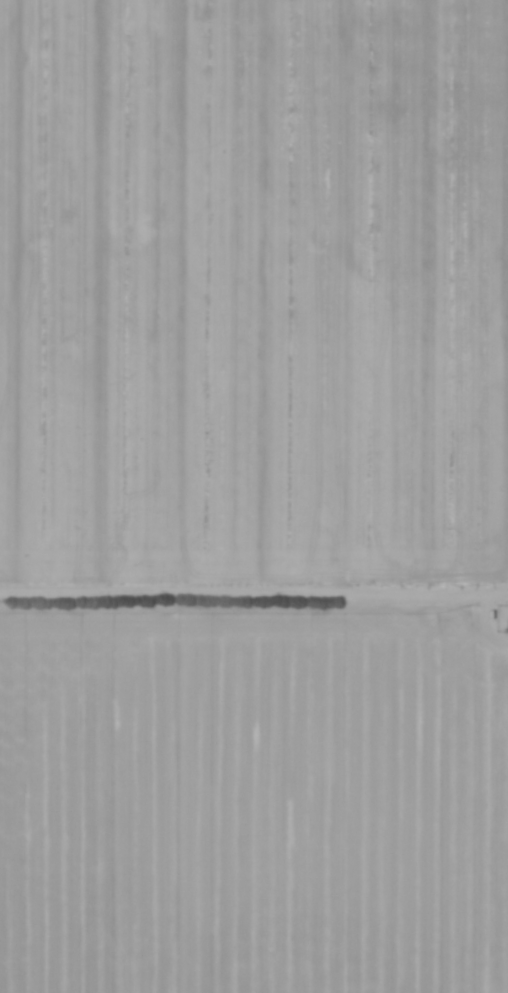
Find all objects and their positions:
crop: (254, 496)

